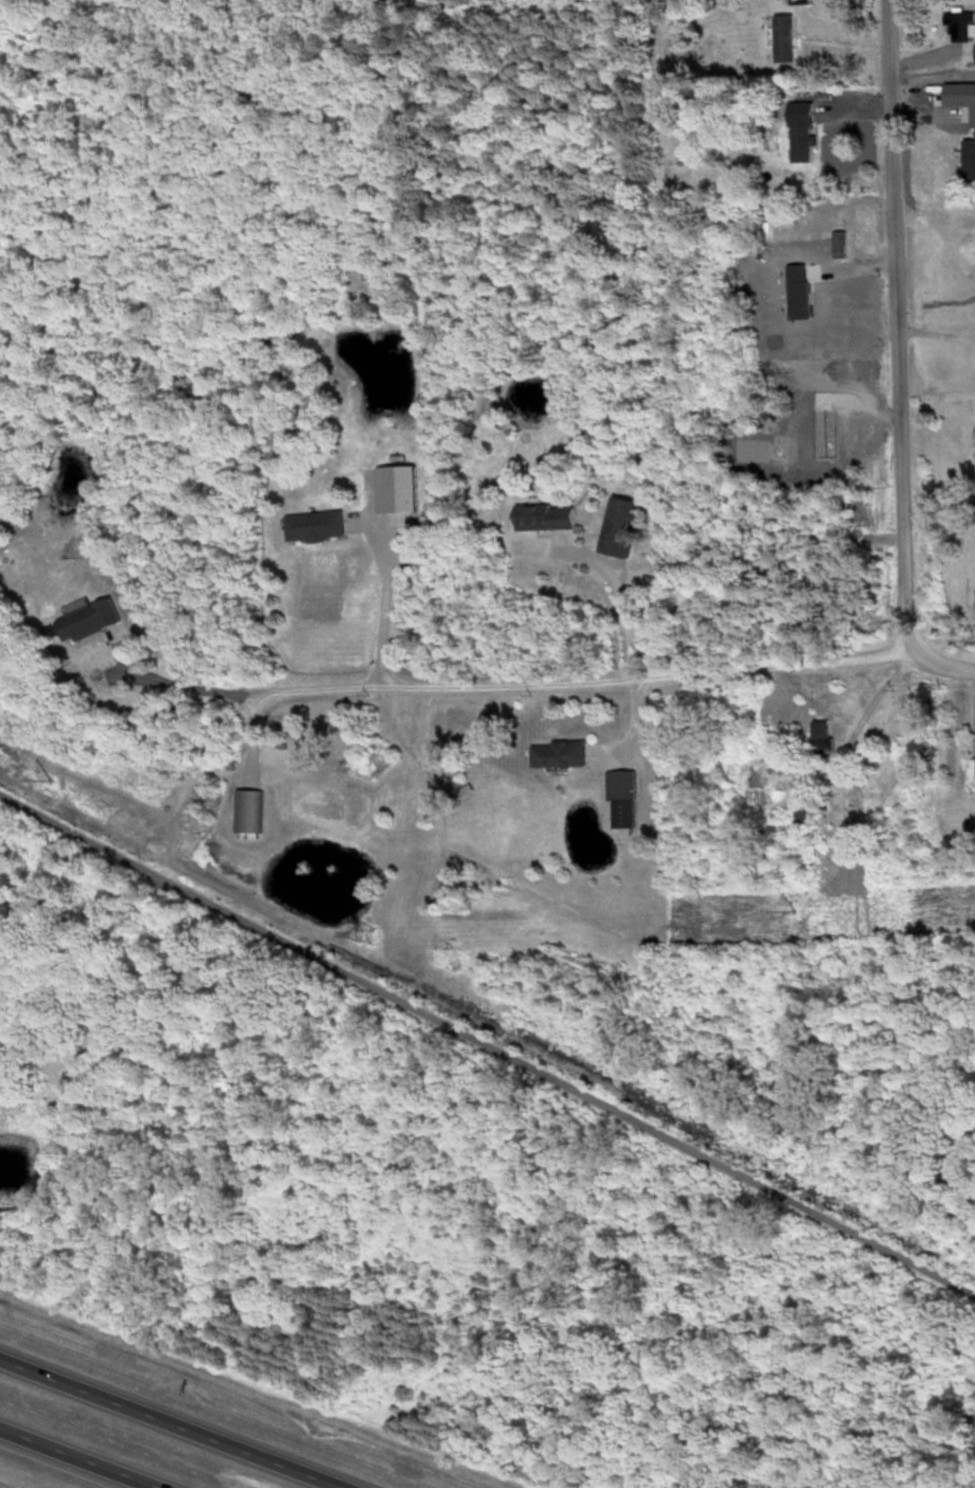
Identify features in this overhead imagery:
building: (797, 1)
building: (960, 25)
building: (782, 37)
building: (974, 50)
building: (958, 96)
building: (800, 141)
building: (968, 157)
building: (822, 249)
road: (893, 323)
building: (779, 365)
building: (394, 487)
building: (544, 516)
building: (313, 525)
building: (619, 526)
road: (605, 598)
road: (363, 606)
building: (85, 619)
road: (939, 666)
road: (519, 686)
road: (861, 698)
building: (820, 735)
building: (557, 753)
power tower: (50, 780)
building: (620, 798)
building: (244, 810)
power tower: (797, 910)
power tower: (366, 932)
road: (487, 1042)
road: (171, 1423)
road: (76, 1459)

